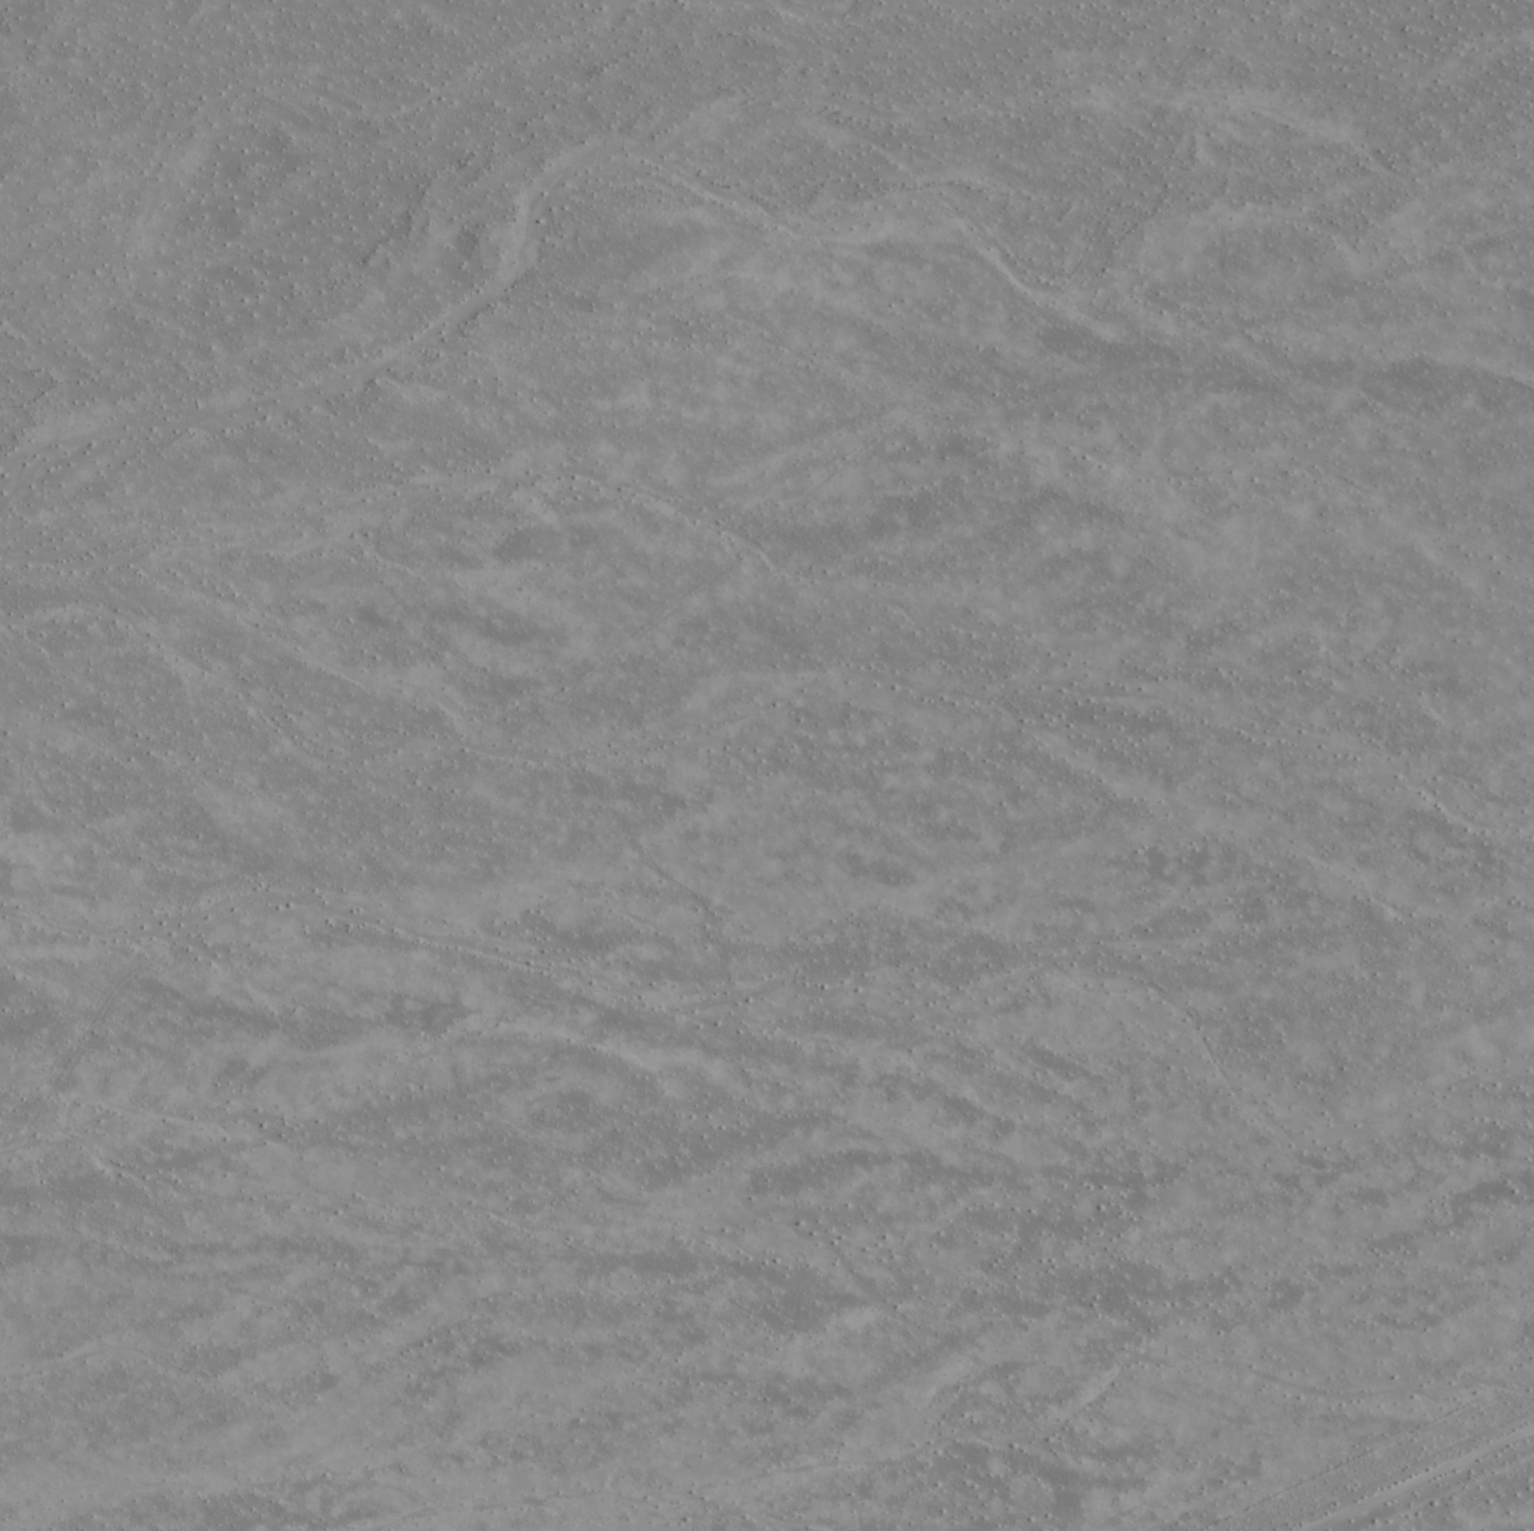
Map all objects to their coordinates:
road: (1452, 1494)

